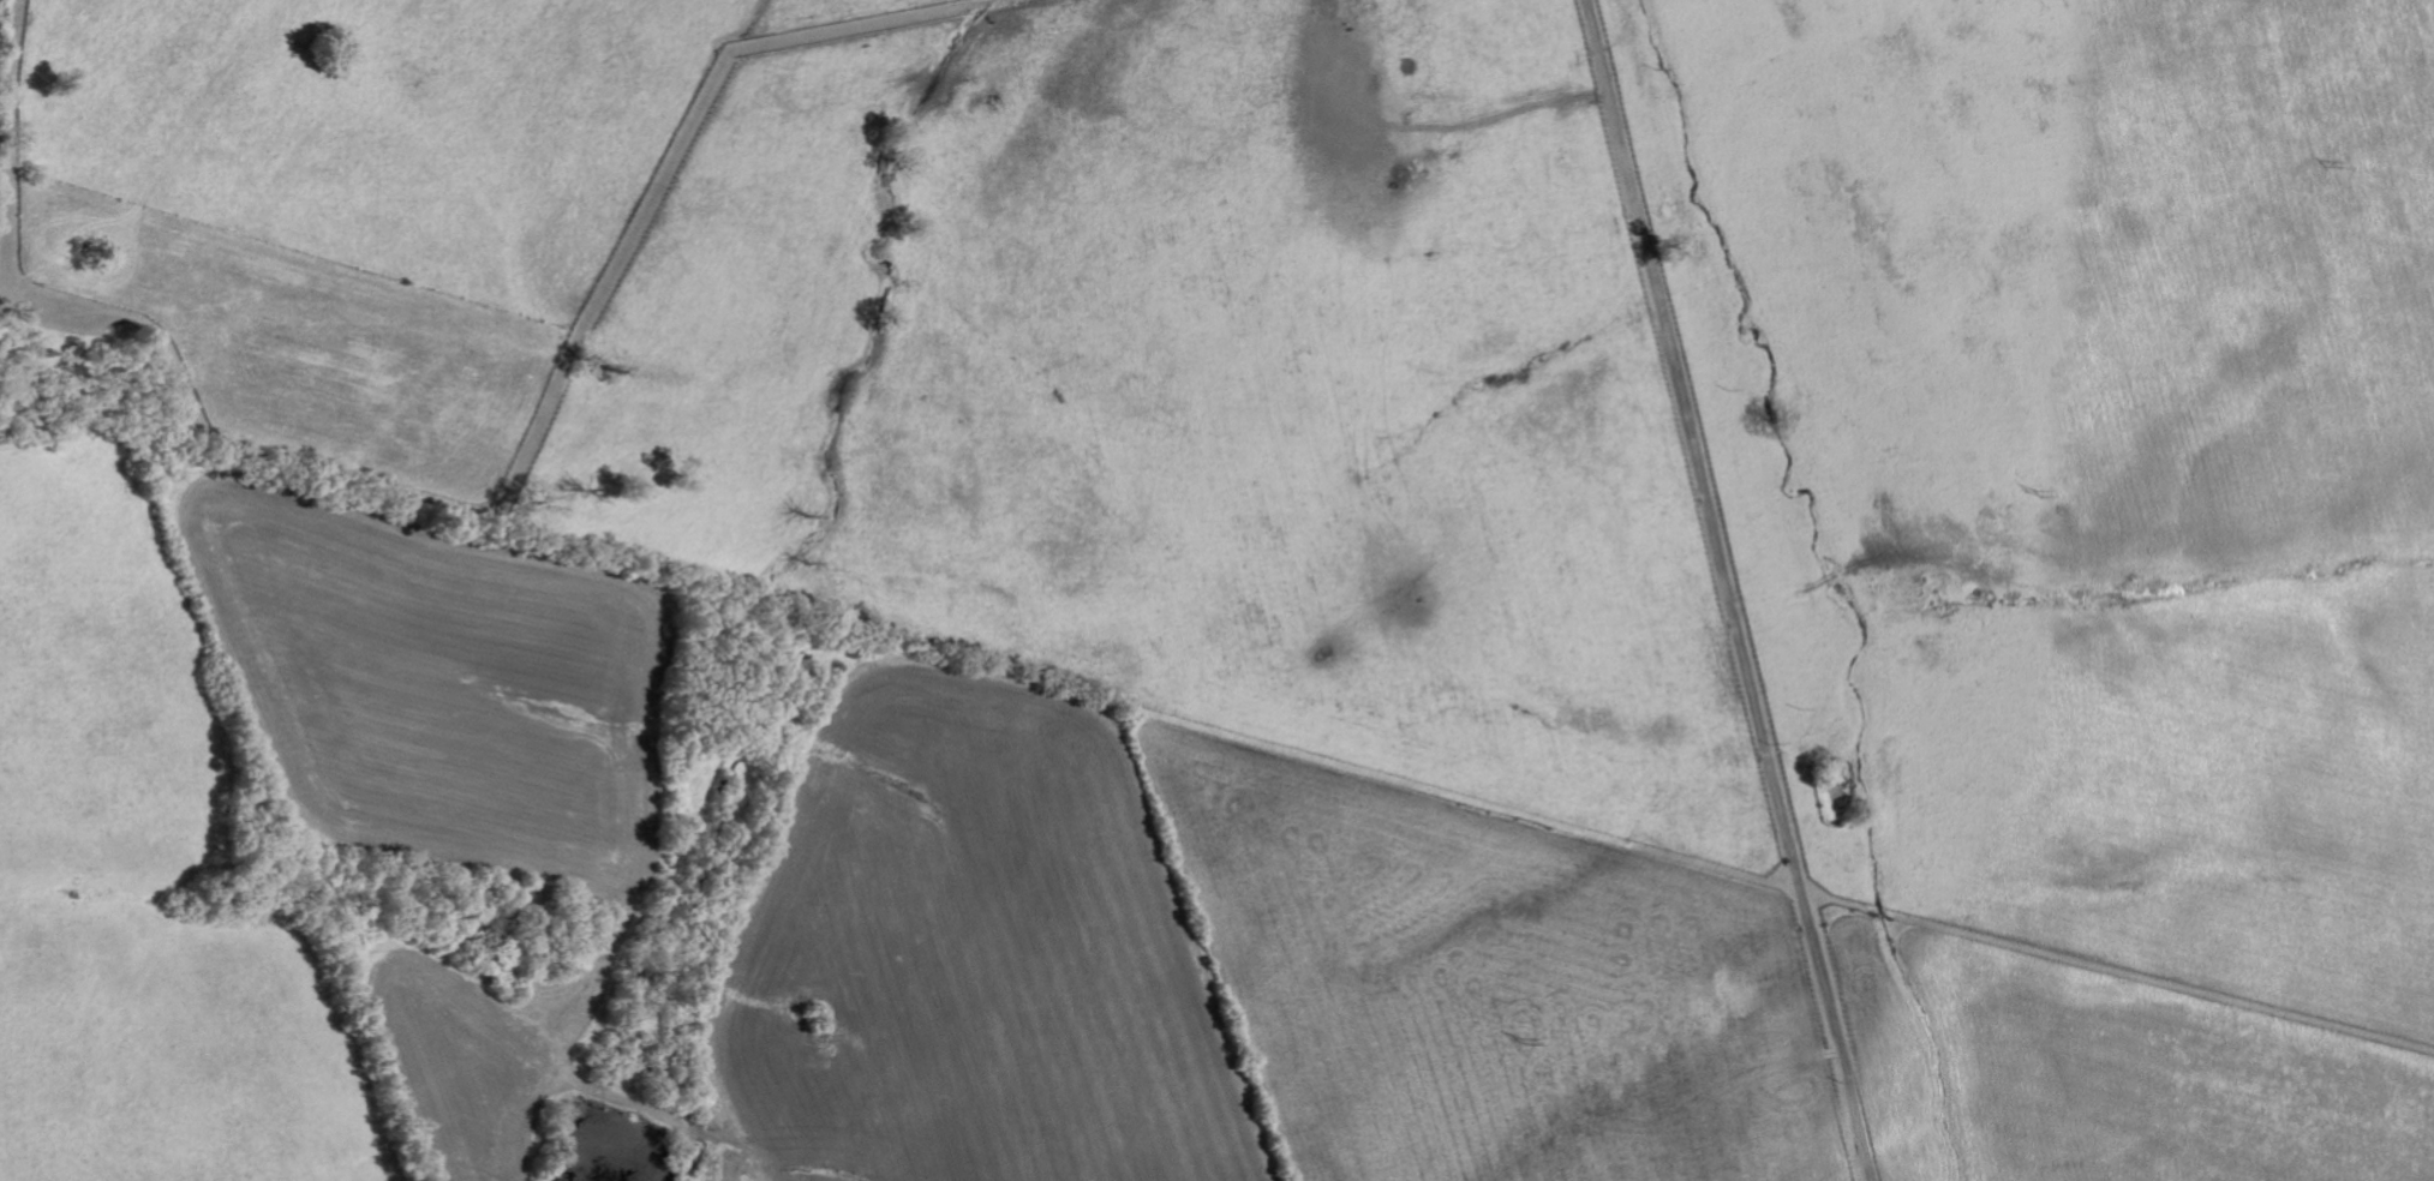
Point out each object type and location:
road: (1727, 590)

